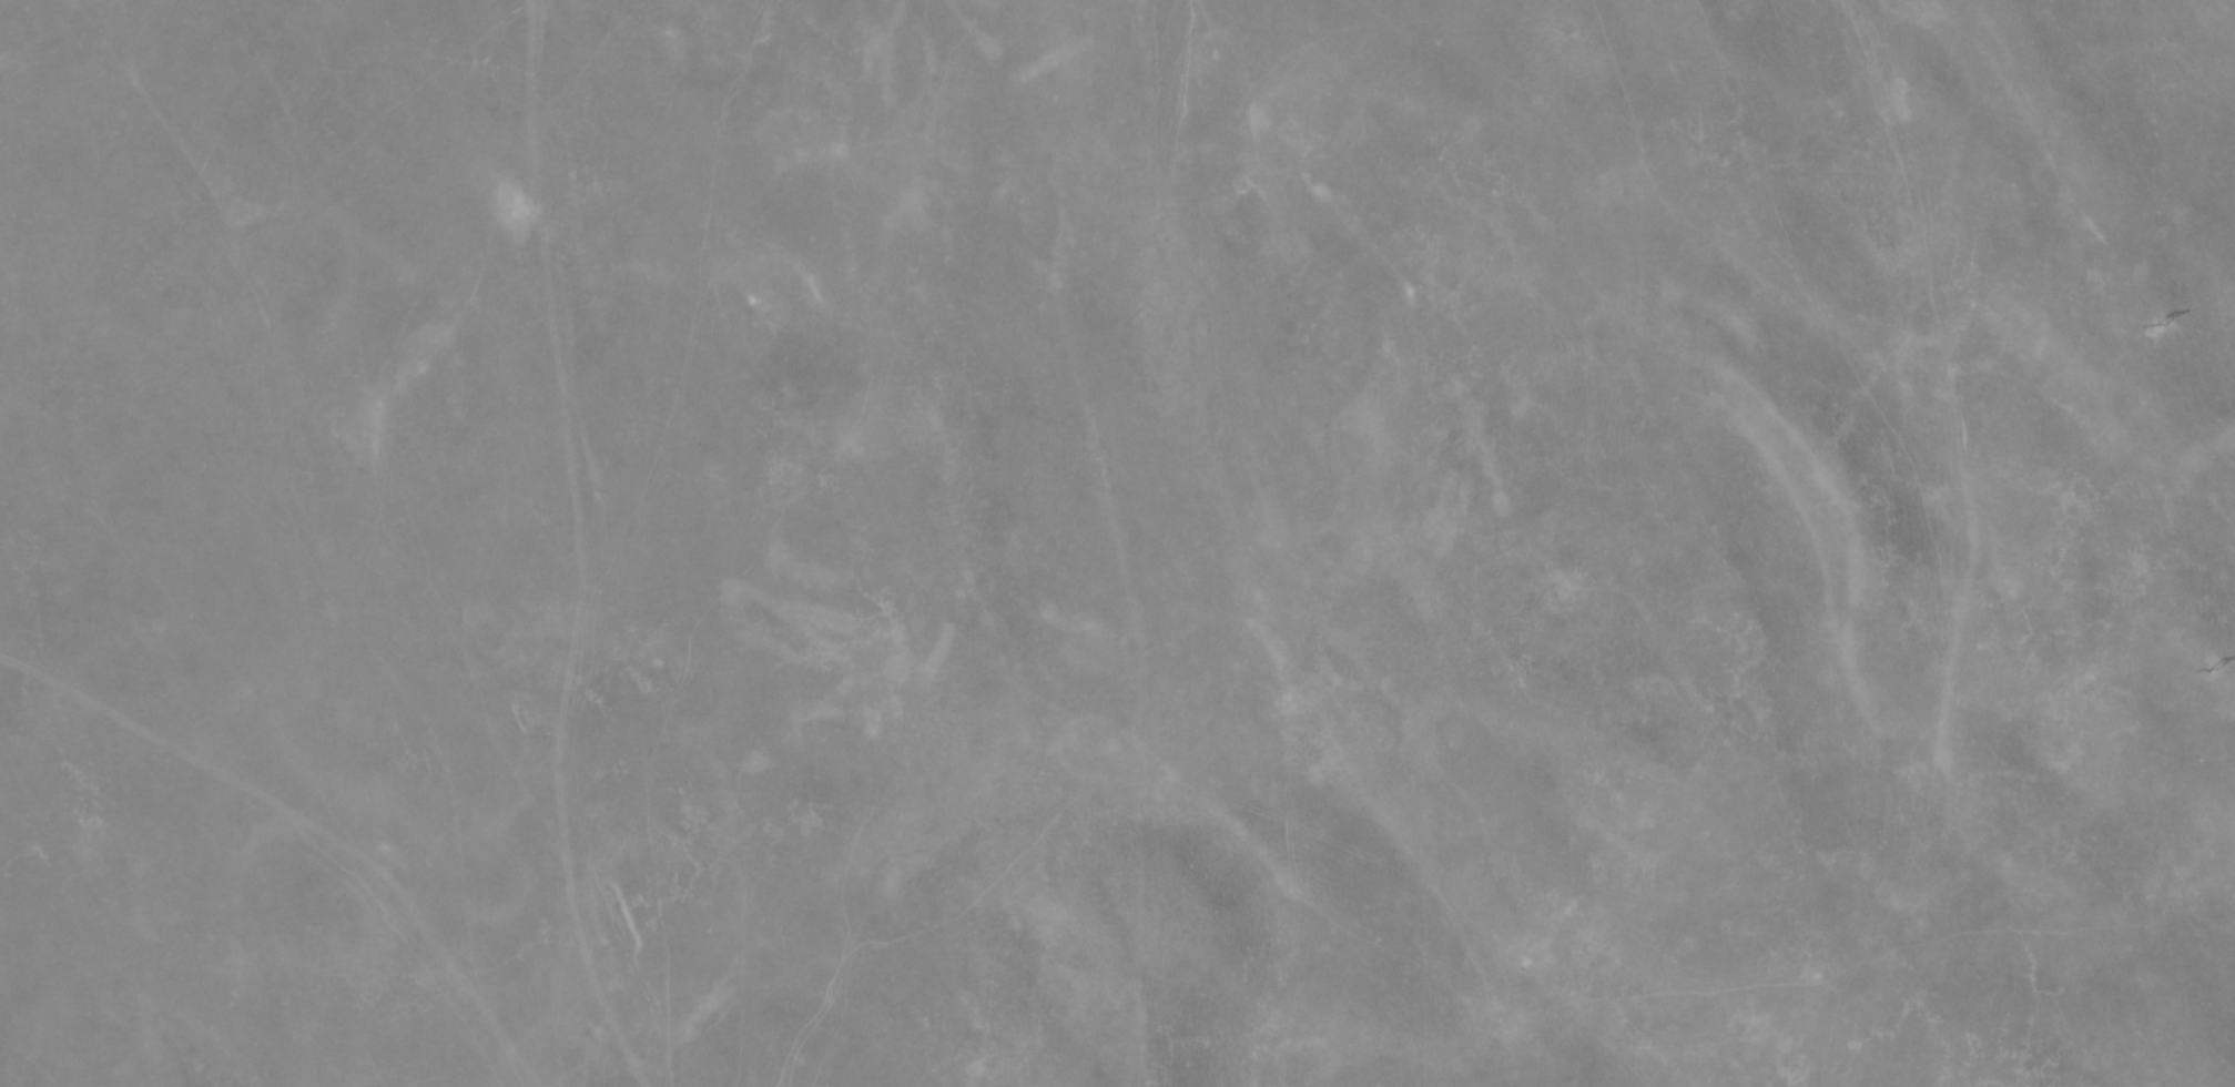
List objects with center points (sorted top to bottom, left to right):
power tower: (2158, 326)
power tower: (2211, 671)

